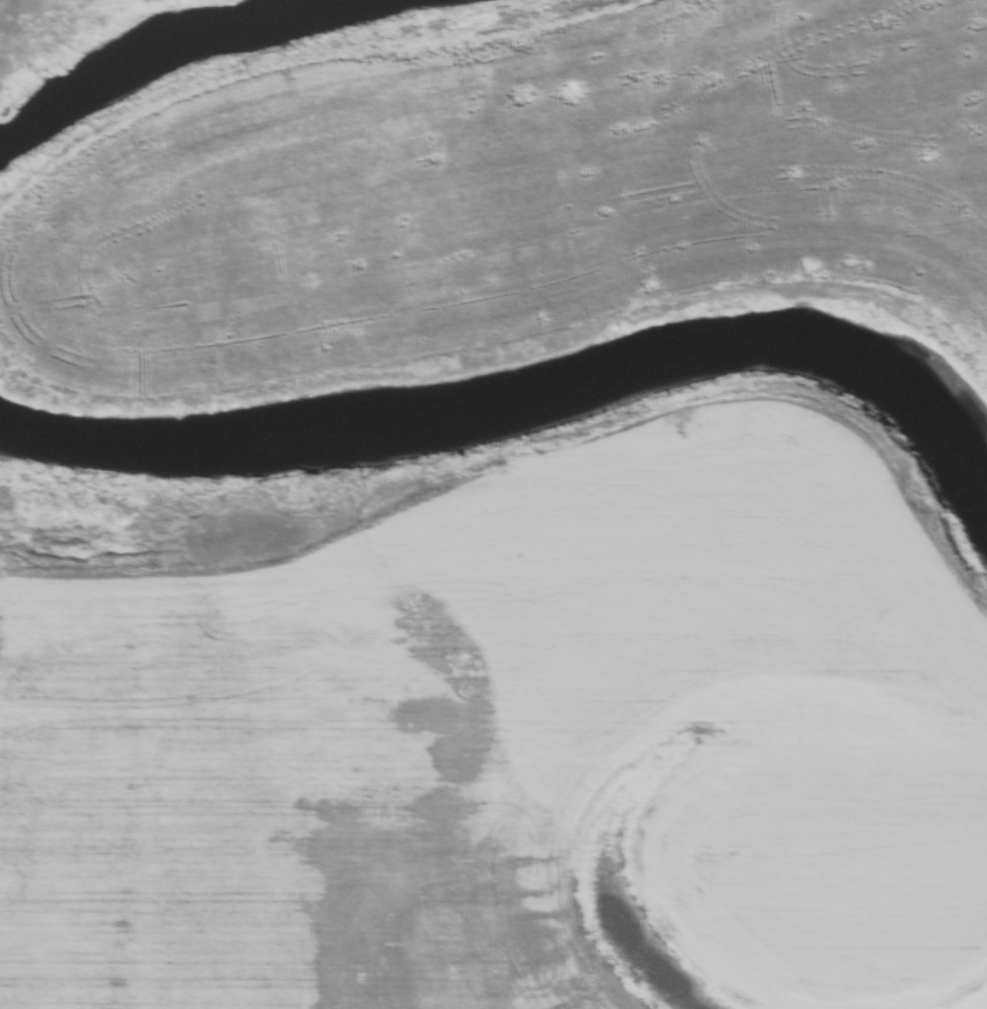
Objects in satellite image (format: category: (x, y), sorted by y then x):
river: (182, 53)
river: (531, 396)

